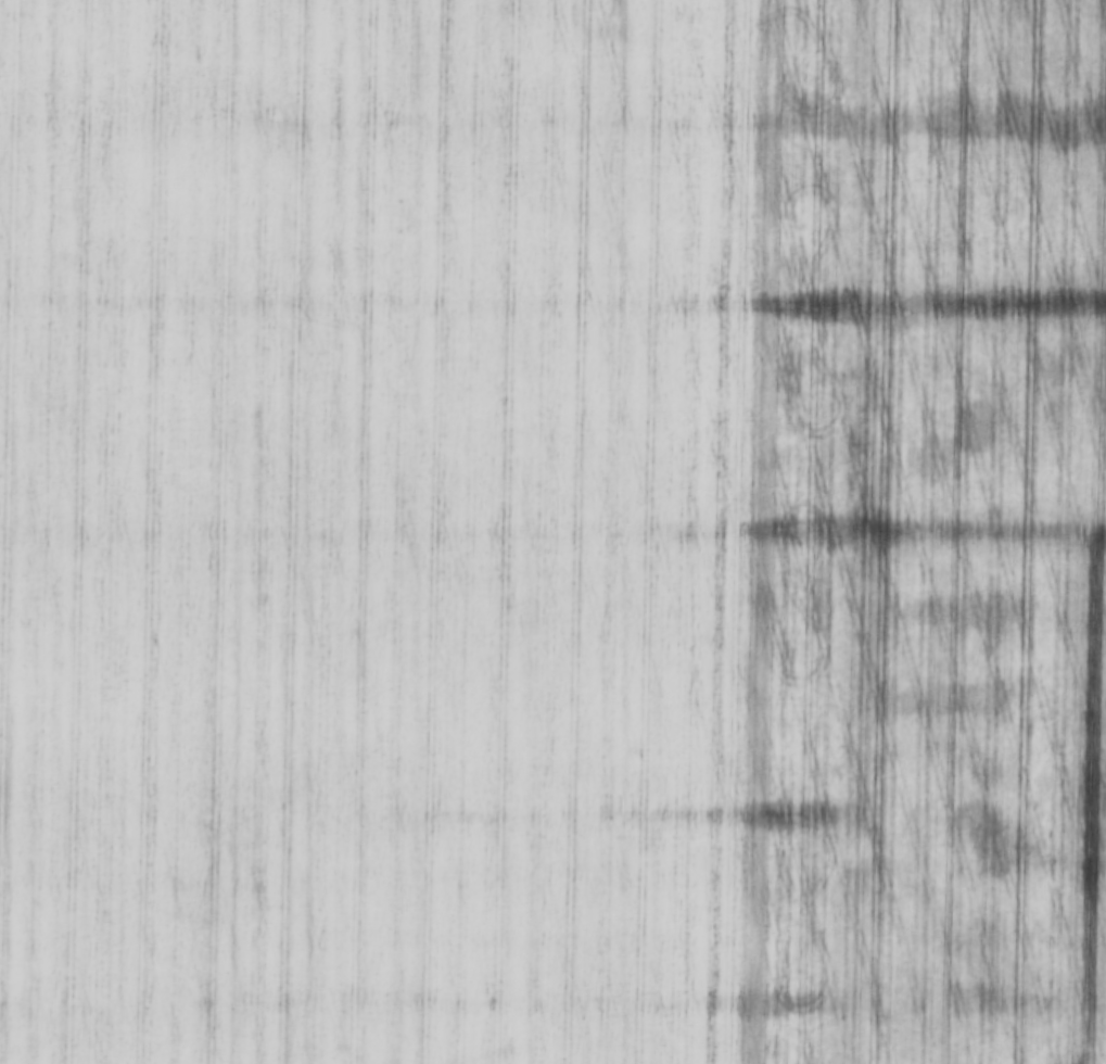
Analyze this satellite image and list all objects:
crop: (552, 532)

